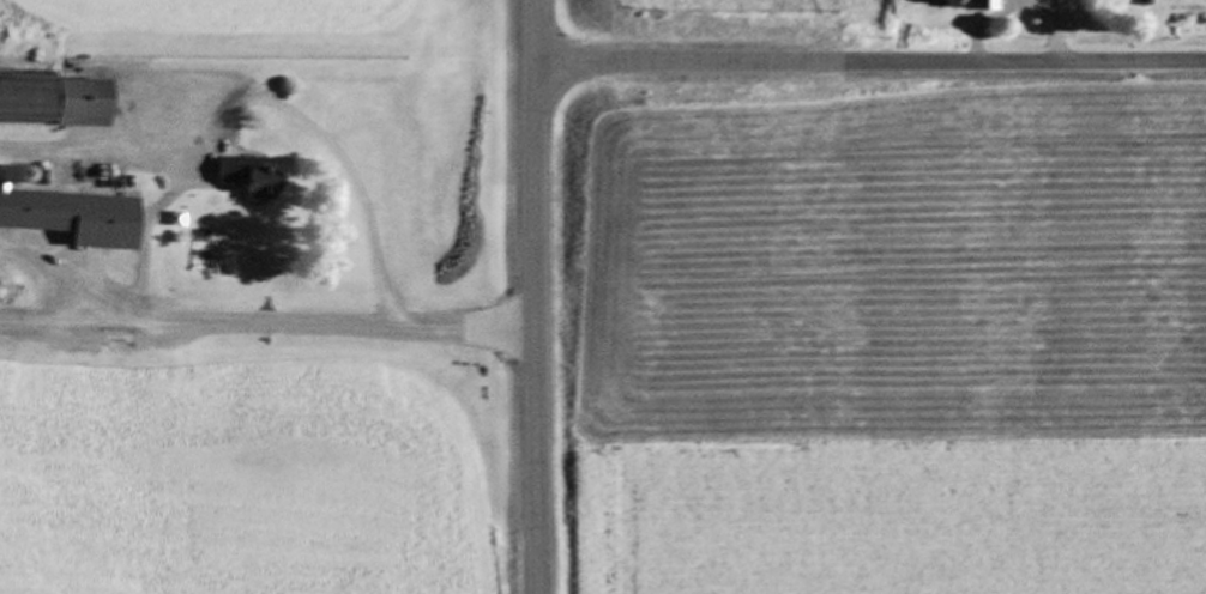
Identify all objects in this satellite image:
building: (1142, 0)
building: (983, 4)
road: (1060, 29)
road: (872, 60)
road: (270, 99)
building: (253, 174)
building: (77, 214)
road: (82, 281)
road: (538, 296)
road: (204, 321)
road: (474, 328)

